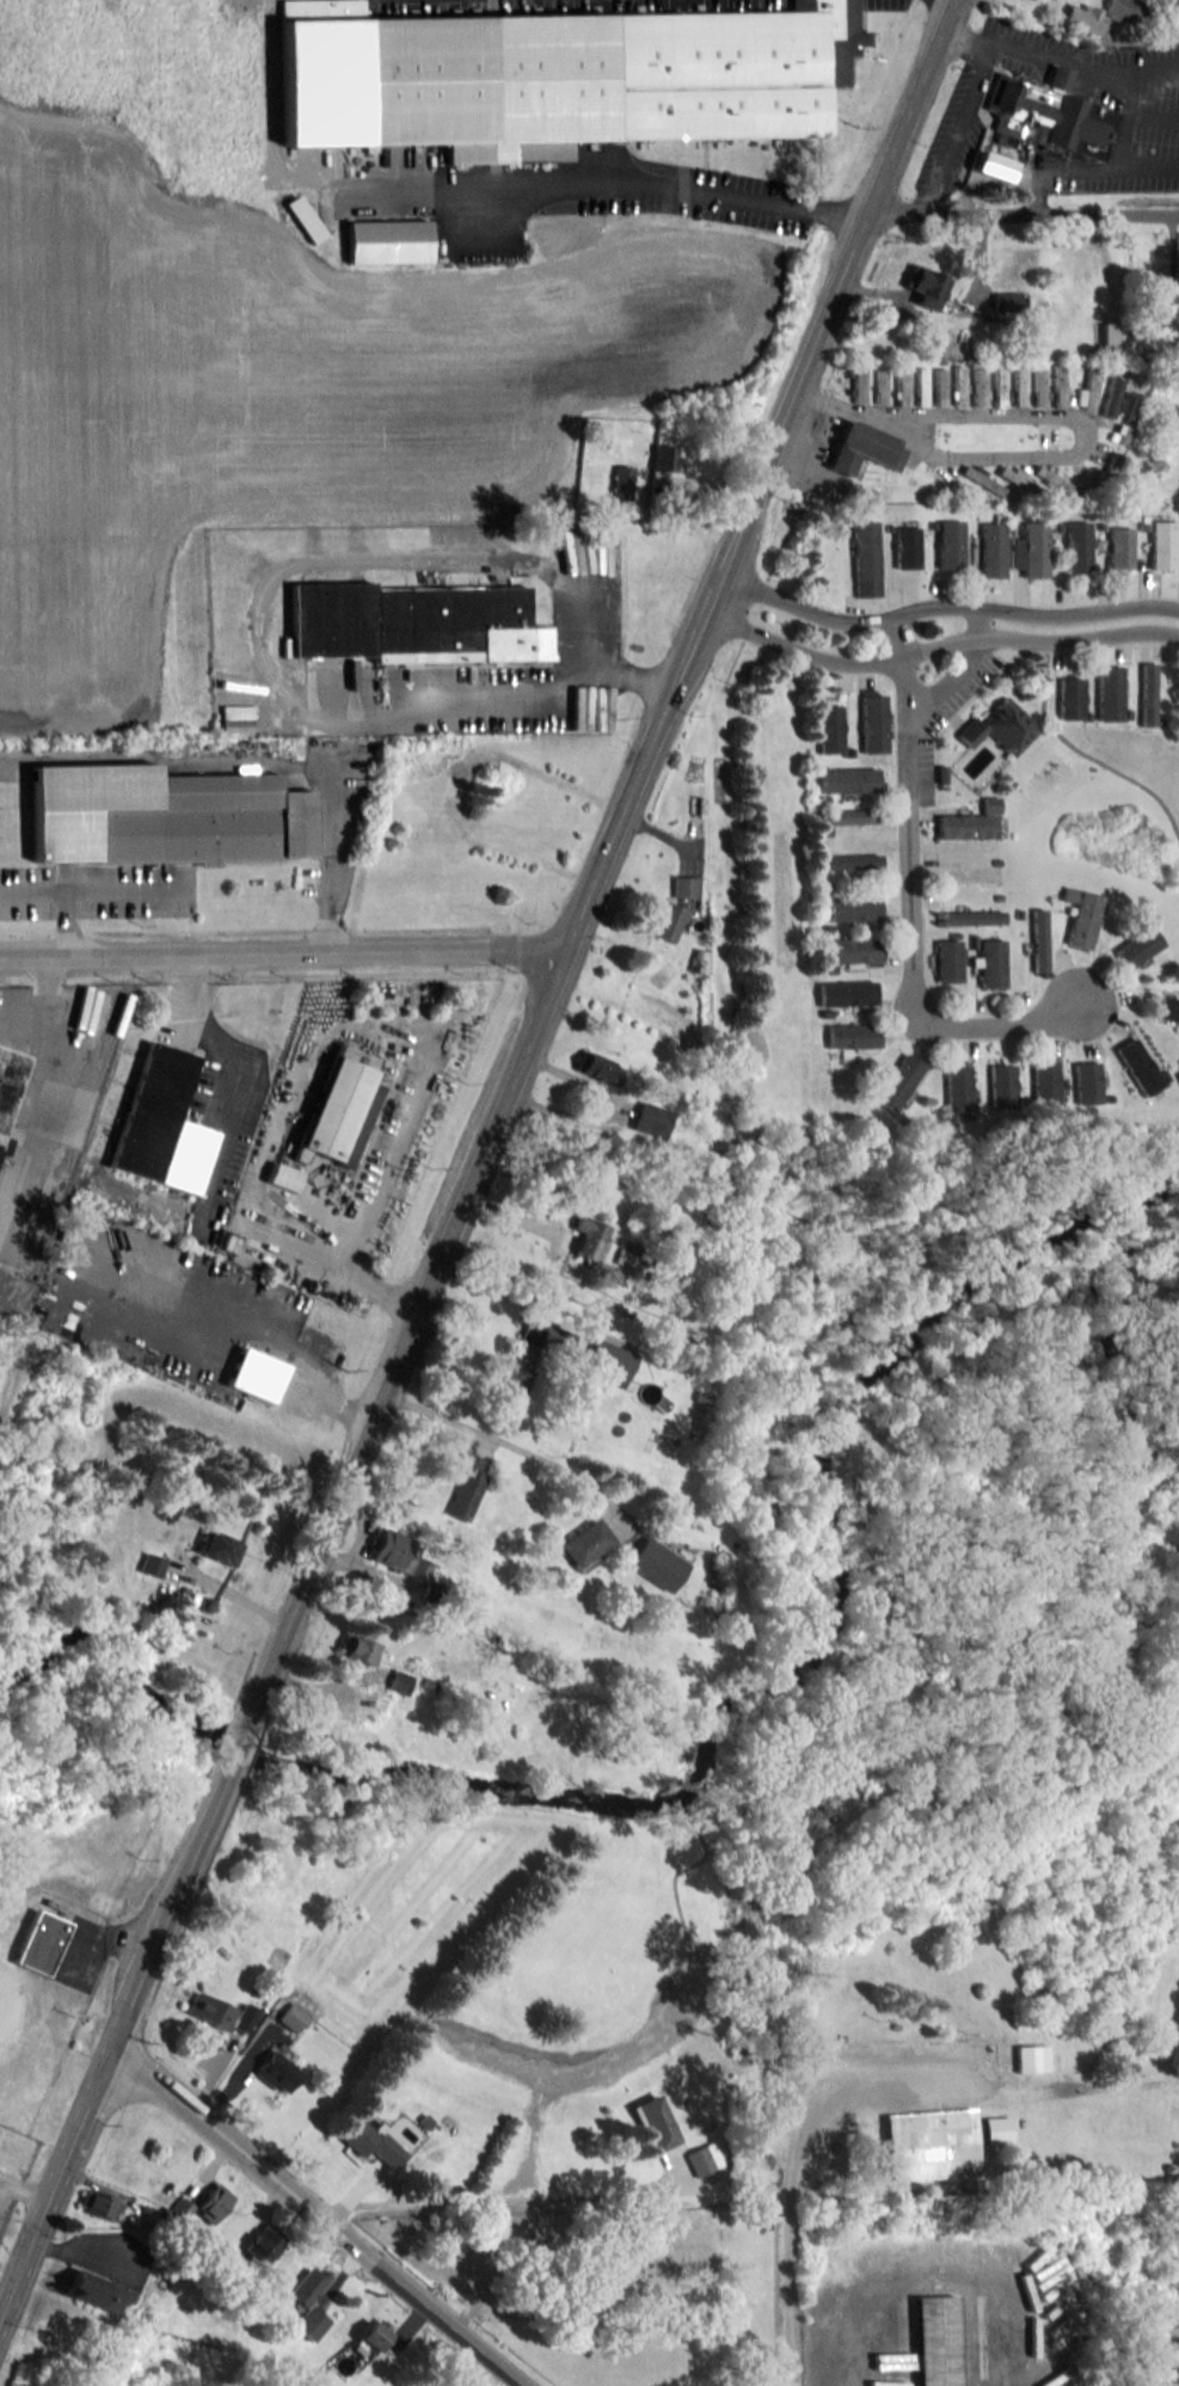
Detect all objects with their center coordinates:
building: (1098, 14)
building: (557, 76)
building: (1056, 76)
road: (1128, 85)
building: (1043, 115)
road: (953, 130)
building: (991, 165)
road: (487, 183)
road: (1021, 214)
building: (386, 241)
building: (925, 286)
building: (1157, 295)
building: (1006, 302)
building: (1113, 337)
building: (859, 382)
building: (902, 385)
building: (958, 385)
building: (999, 385)
building: (1018, 385)
building: (1058, 385)
building: (880, 386)
building: (921, 386)
building: (940, 386)
building: (978, 387)
building: (1038, 387)
building: (1087, 391)
building: (1111, 392)
road: (1049, 418)
building: (865, 448)
building: (663, 458)
building: (1011, 474)
building: (982, 479)
building: (1052, 480)
building: (621, 483)
building: (948, 544)
building: (1076, 545)
building: (1160, 545)
building: (905, 547)
building: (1118, 547)
building: (990, 550)
building: (1030, 550)
building: (865, 558)
road: (944, 606)
building: (410, 622)
road: (937, 645)
road: (251, 646)
building: (1109, 693)
building: (1146, 693)
building: (1175, 694)
building: (1069, 698)
building: (573, 707)
building: (872, 722)
building: (1000, 726)
building: (829, 729)
road: (257, 761)
building: (848, 779)
building: (160, 815)
building: (846, 816)
building: (970, 822)
building: (851, 861)
road: (598, 866)
building: (683, 885)
road: (90, 890)
road: (910, 896)
building: (853, 908)
building: (1081, 916)
building: (970, 918)
building: (668, 921)
road: (63, 924)
building: (1037, 940)
building: (1137, 946)
building: (852, 950)
road: (282, 953)
building: (947, 961)
building: (989, 963)
building: (846, 993)
building: (1167, 1008)
building: (852, 1036)
building: (591, 1066)
building: (1135, 1066)
road: (237, 1073)
building: (8, 1080)
building: (897, 1081)
building: (1040, 1081)
building: (1082, 1082)
building: (999, 1084)
building: (957, 1088)
building: (332, 1117)
building: (650, 1118)
building: (159, 1125)
building: (588, 1237)
building: (626, 1258)
building: (527, 1361)
building: (609, 1362)
building: (254, 1374)
road: (496, 1440)
building: (466, 1486)
building: (585, 1542)
building: (219, 1547)
building: (401, 1554)
building: (152, 1564)
building: (656, 1564)
building: (360, 1650)
building: (399, 1681)
road: (239, 1746)
building: (38, 1942)
road: (134, 1993)
building: (5, 2000)
building: (209, 2010)
building: (245, 2016)
building: (290, 2016)
building: (1025, 2059)
building: (280, 2069)
building: (423, 2120)
building: (658, 2121)
building: (997, 2127)
road: (221, 2133)
building: (367, 2137)
building: (931, 2142)
building: (699, 2159)
road: (796, 2160)
road: (24, 2192)
road: (495, 2200)
building: (214, 2202)
building: (189, 2216)
building: (761, 2219)
building: (263, 2244)
building: (221, 2251)
road: (18, 2275)
building: (306, 2287)
park: (602, 2289)
building: (94, 2290)
road: (426, 2302)
building: (311, 2323)
building: (1032, 2336)
building: (371, 2337)
building: (935, 2339)
road: (1168, 2362)

